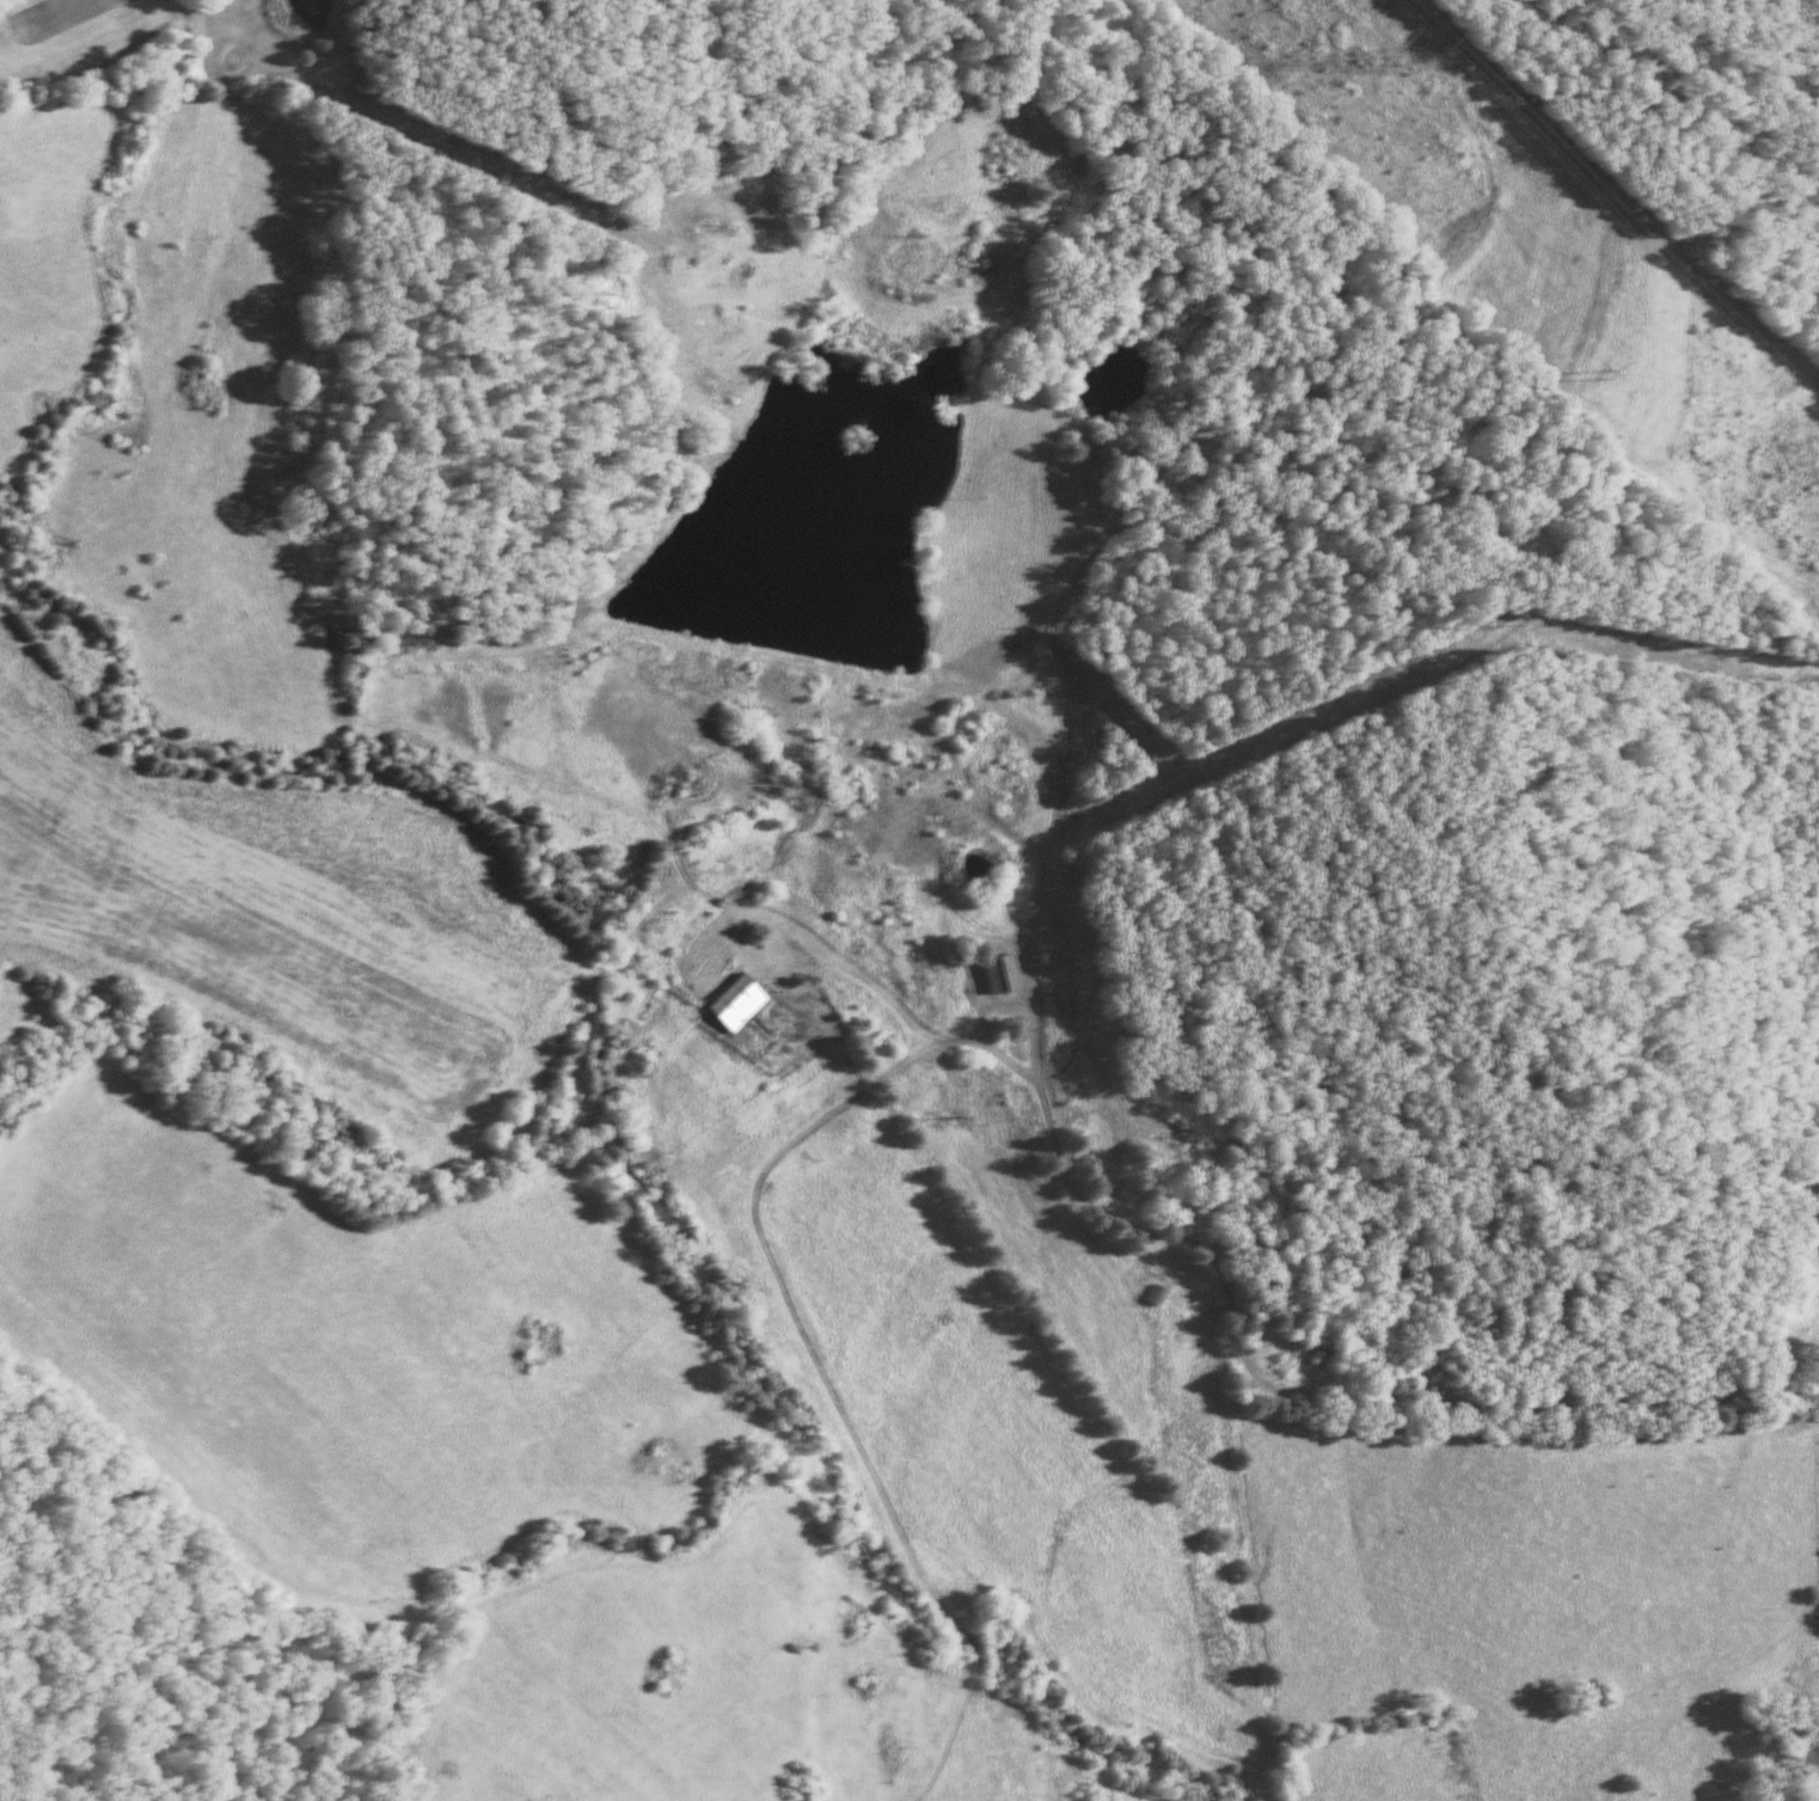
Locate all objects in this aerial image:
power tower: (1401, 60)
building: (991, 973)
building: (724, 1003)
building: (1145, 1295)
road: (1270, 1391)

